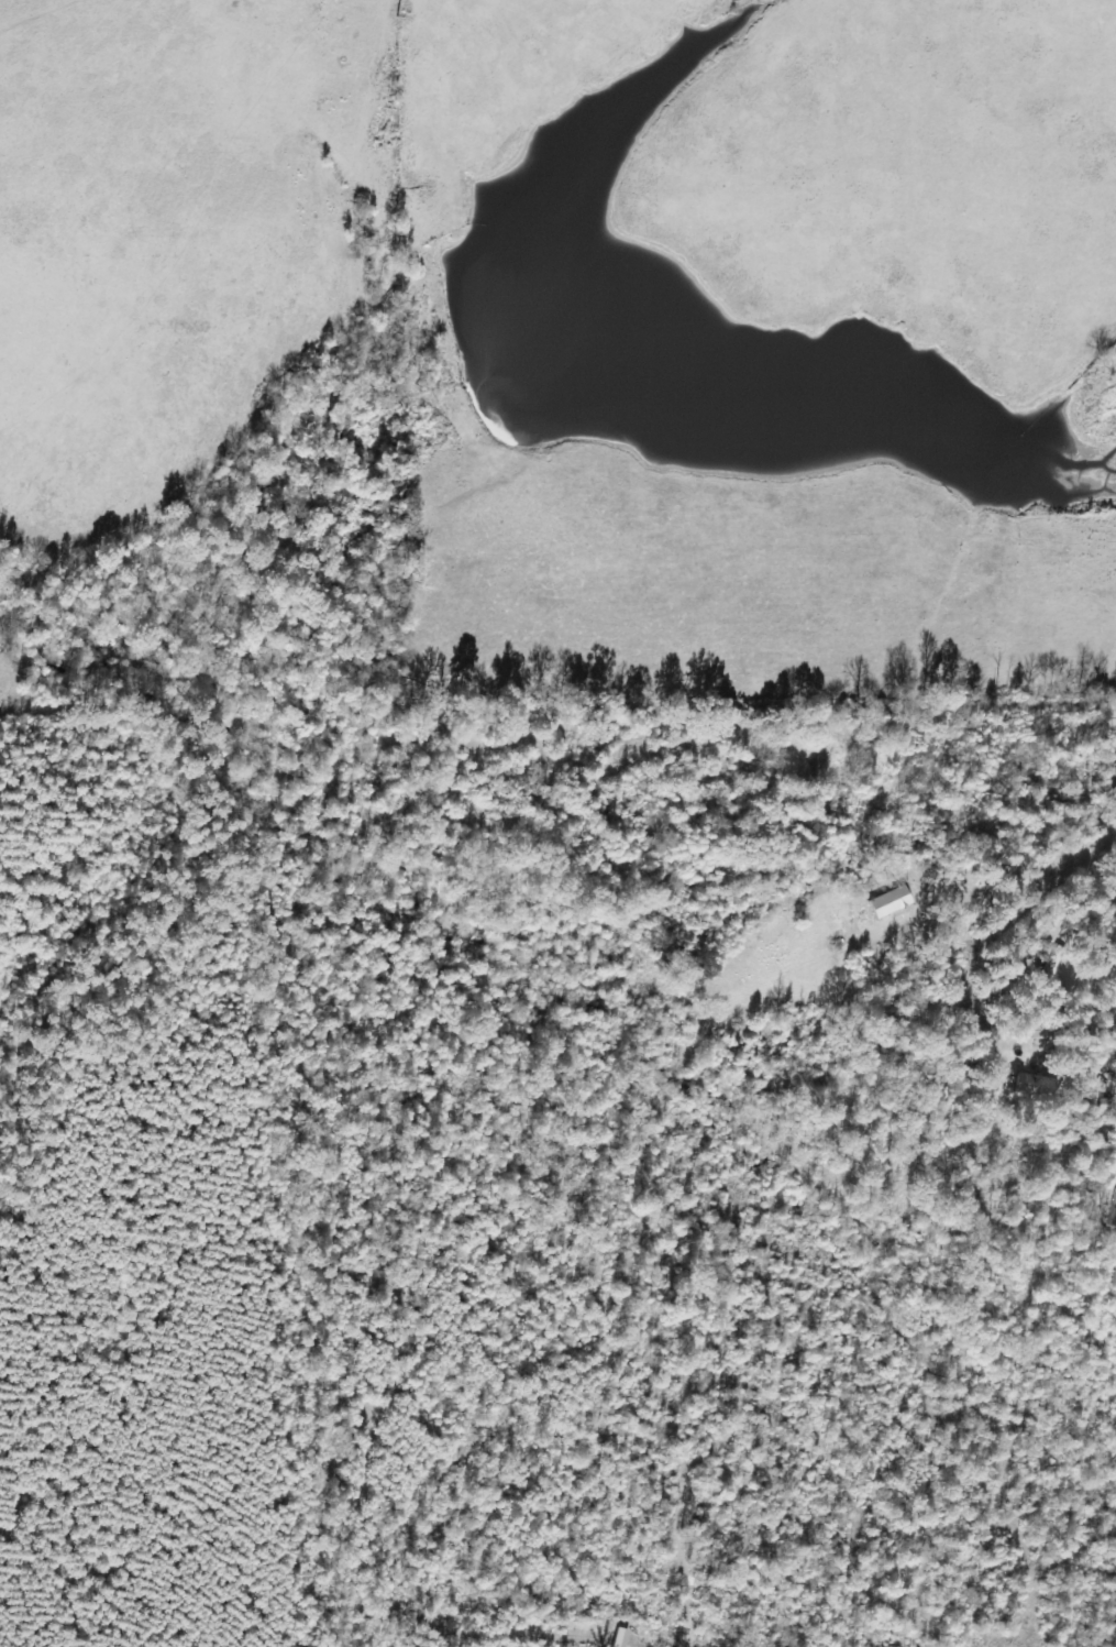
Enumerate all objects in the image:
road: (506, 720)
building: (888, 902)
road: (1061, 1162)

